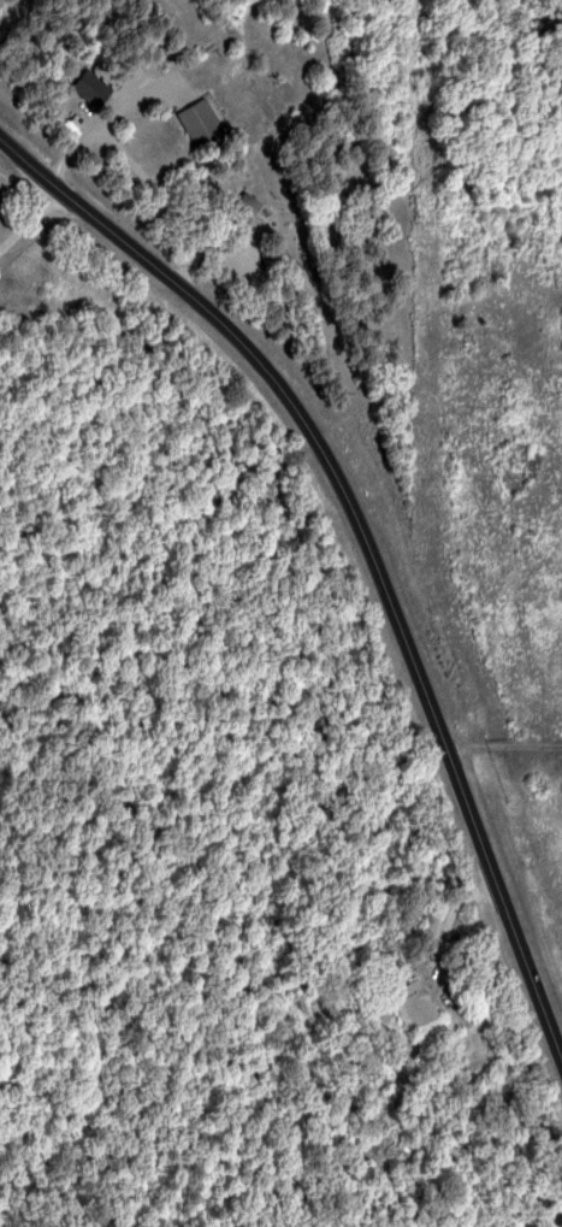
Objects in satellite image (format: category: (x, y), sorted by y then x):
building: (94, 88)
building: (203, 122)
building: (249, 207)
road: (379, 530)
building: (419, 1004)

